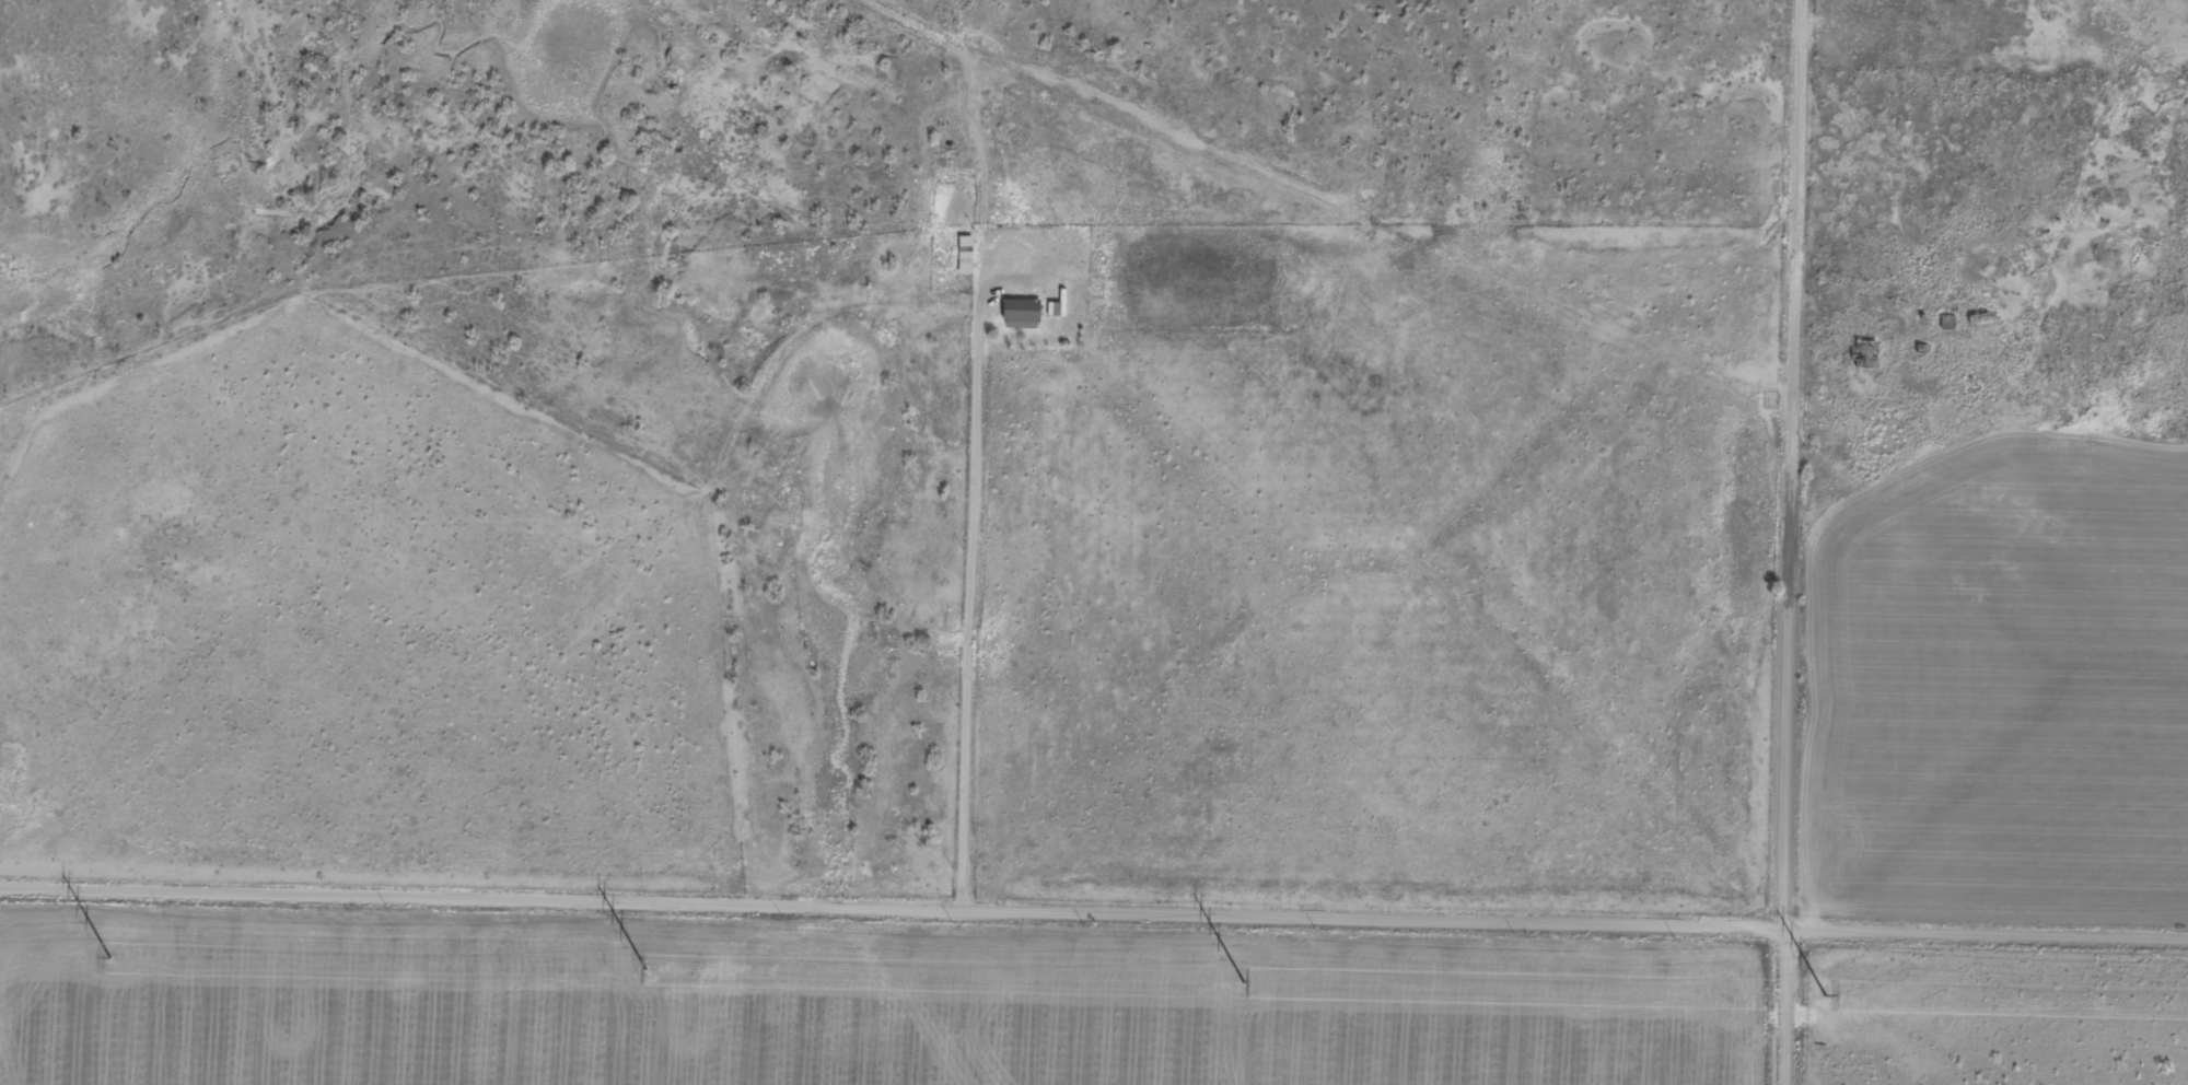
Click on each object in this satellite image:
building: (964, 256)
building: (1020, 315)
building: (1946, 324)
building: (1979, 325)
building: (1863, 355)
road: (1795, 541)
road: (264, 778)
road: (1094, 909)
power tower: (110, 956)
power tower: (645, 968)
power tower: (1244, 980)
power tower: (1827, 993)

